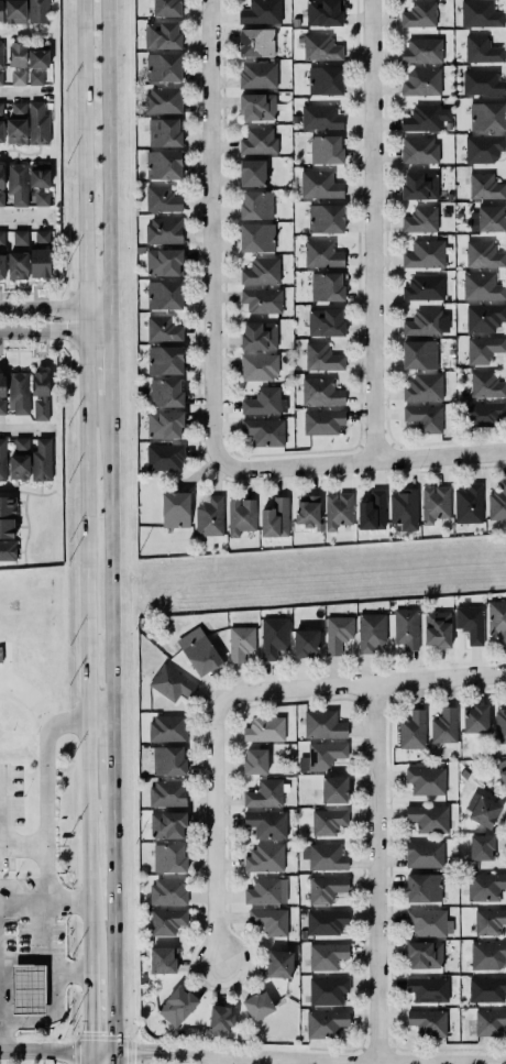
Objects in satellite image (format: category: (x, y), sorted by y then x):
building: (166, 8)
building: (0, 11)
building: (15, 11)
building: (37, 11)
building: (260, 12)
building: (322, 12)
building: (480, 13)
building: (419, 14)
road: (22, 34)
building: (161, 34)
building: (256, 42)
building: (320, 47)
building: (482, 48)
building: (13, 51)
building: (34, 51)
building: (421, 51)
building: (1, 55)
building: (163, 66)
building: (257, 74)
building: (19, 77)
building: (35, 77)
building: (1, 78)
building: (324, 79)
building: (421, 81)
building: (481, 81)
road: (24, 94)
building: (162, 100)
building: (257, 106)
building: (19, 108)
building: (1, 109)
building: (487, 116)
building: (320, 117)
building: (425, 117)
building: (0, 120)
building: (36, 122)
building: (448, 125)
building: (15, 131)
building: (164, 132)
building: (1, 133)
building: (258, 141)
building: (483, 147)
building: (326, 149)
building: (418, 150)
road: (19, 152)
road: (110, 154)
building: (163, 164)
building: (37, 173)
building: (252, 173)
building: (1, 175)
building: (15, 182)
building: (319, 184)
building: (419, 185)
building: (449, 186)
building: (485, 186)
building: (40, 197)
building: (1, 198)
building: (161, 199)
building: (256, 205)
building: (446, 212)
road: (24, 216)
building: (326, 218)
building: (491, 218)
building: (420, 219)
building: (163, 230)
road: (373, 230)
road: (210, 231)
building: (255, 237)
building: (1, 238)
building: (20, 238)
building: (38, 253)
building: (321, 253)
building: (425, 253)
building: (483, 254)
building: (164, 262)
building: (18, 265)
building: (1, 266)
building: (261, 271)
building: (327, 286)
building: (482, 286)
building: (424, 287)
road: (16, 293)
building: (164, 294)
road: (44, 298)
building: (262, 299)
road: (55, 308)
building: (484, 317)
road: (110, 320)
building: (324, 321)
building: (422, 323)
building: (163, 328)
road: (55, 332)
building: (258, 334)
road: (16, 348)
building: (483, 348)
road: (44, 352)
building: (419, 354)
building: (321, 358)
building: (164, 359)
building: (257, 366)
road: (110, 379)
building: (2, 384)
building: (486, 385)
building: (424, 387)
building: (18, 390)
building: (165, 392)
building: (321, 392)
building: (42, 395)
building: (264, 402)
building: (2, 406)
building: (484, 413)
building: (424, 417)
building: (322, 421)
building: (164, 424)
road: (25, 428)
building: (265, 431)
building: (164, 456)
building: (40, 458)
building: (1, 459)
building: (18, 459)
road: (362, 460)
road: (85, 485)
road: (26, 491)
building: (497, 502)
building: (435, 503)
building: (469, 503)
building: (7, 504)
building: (175, 508)
building: (404, 508)
building: (337, 509)
building: (307, 511)
building: (372, 511)
building: (209, 516)
building: (241, 516)
building: (275, 518)
road: (26, 527)
building: (7, 528)
building: (7, 549)
road: (111, 574)
building: (497, 618)
building: (470, 623)
building: (406, 627)
building: (437, 628)
building: (371, 632)
building: (337, 633)
building: (273, 636)
building: (240, 643)
building: (305, 643)
building: (198, 650)
building: (172, 682)
road: (232, 696)
building: (475, 719)
road: (100, 723)
building: (323, 724)
building: (443, 725)
building: (501, 725)
building: (167, 728)
building: (264, 728)
building: (411, 730)
building: (320, 756)
building: (167, 759)
building: (254, 760)
building: (502, 769)
road: (113, 771)
building: (463, 774)
building: (426, 780)
road: (45, 787)
building: (333, 789)
building: (167, 793)
building: (264, 793)
building: (482, 810)
building: (428, 818)
building: (327, 821)
building: (266, 823)
building: (167, 824)
road: (22, 843)
building: (481, 846)
building: (425, 854)
building: (324, 856)
building: (264, 857)
building: (168, 858)
road: (372, 875)
building: (485, 886)
road: (45, 887)
building: (422, 887)
building: (324, 889)
building: (167, 890)
building: (265, 890)
building: (488, 920)
building: (166, 921)
building: (269, 921)
building: (326, 921)
building: (427, 922)
road: (113, 941)
building: (424, 954)
building: (326, 955)
building: (486, 955)
building: (162, 959)
building: (278, 964)
road: (69, 972)
road: (51, 981)
building: (486, 988)
building: (28, 989)
building: (428, 989)
building: (327, 990)
building: (257, 1005)
building: (176, 1007)
road: (89, 1012)
building: (220, 1017)
building: (428, 1022)
building: (490, 1022)
building: (326, 1023)
road: (0, 1039)
road: (56, 1053)
road: (180, 1055)
road: (90, 1058)

